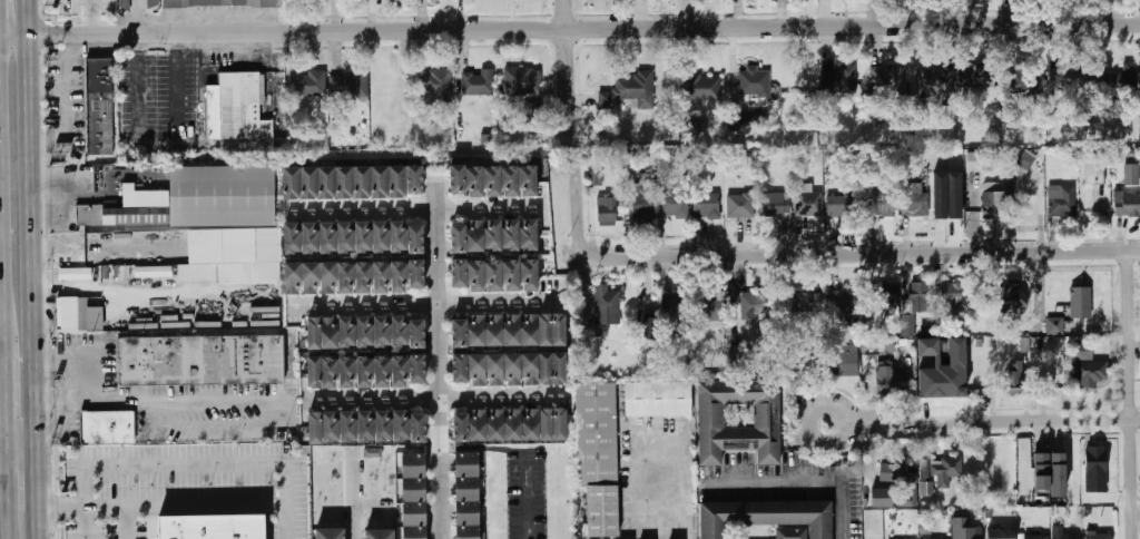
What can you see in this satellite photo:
building: (155, 3)
building: (223, 3)
building: (124, 4)
road: (28, 19)
road: (583, 30)
road: (14, 39)
building: (972, 78)
building: (1069, 78)
building: (838, 80)
building: (1119, 80)
building: (522, 81)
building: (756, 81)
building: (936, 81)
building: (479, 82)
building: (892, 82)
building: (307, 84)
building: (434, 84)
building: (348, 85)
building: (1024, 86)
building: (702, 88)
building: (628, 89)
building: (99, 106)
building: (236, 107)
building: (532, 111)
building: (741, 121)
road: (570, 129)
building: (1095, 168)
building: (1132, 175)
building: (456, 178)
building: (397, 180)
building: (414, 180)
building: (509, 180)
building: (528, 180)
building: (380, 182)
building: (474, 182)
building: (492, 182)
building: (326, 183)
building: (344, 183)
building: (362, 183)
building: (291, 184)
building: (309, 184)
road: (55, 193)
building: (947, 195)
building: (1062, 200)
building: (879, 203)
building: (775, 204)
building: (808, 204)
building: (915, 204)
building: (707, 205)
building: (842, 205)
building: (993, 205)
building: (1127, 205)
building: (676, 206)
building: (740, 206)
building: (643, 207)
building: (607, 209)
road: (413, 210)
building: (208, 222)
building: (492, 235)
building: (510, 235)
building: (529, 235)
building: (397, 236)
building: (475, 236)
building: (362, 237)
building: (381, 237)
building: (292, 238)
building: (309, 238)
building: (326, 238)
building: (345, 238)
building: (415, 238)
building: (458, 238)
road: (32, 242)
road: (852, 255)
building: (153, 271)
building: (459, 273)
building: (75, 274)
building: (415, 274)
building: (529, 274)
building: (475, 275)
building: (493, 275)
building: (511, 275)
building: (381, 276)
building: (399, 276)
building: (345, 277)
building: (363, 277)
building: (293, 278)
building: (311, 278)
building: (327, 278)
building: (952, 294)
building: (1012, 296)
building: (887, 297)
building: (921, 297)
road: (1, 301)
building: (842, 301)
building: (807, 302)
building: (1081, 302)
building: (756, 303)
road: (422, 305)
building: (608, 305)
building: (708, 306)
building: (671, 307)
building: (79, 315)
building: (907, 325)
building: (1057, 326)
building: (511, 330)
building: (529, 330)
building: (544, 330)
building: (558, 330)
building: (475, 331)
building: (493, 331)
building: (381, 332)
building: (399, 332)
building: (327, 333)
building: (345, 333)
building: (363, 333)
building: (416, 333)
building: (459, 333)
building: (312, 334)
road: (87, 353)
road: (439, 356)
building: (740, 357)
building: (200, 360)
building: (843, 360)
building: (1089, 364)
building: (558, 367)
building: (415, 369)
building: (458, 369)
building: (476, 369)
building: (494, 369)
building: (512, 369)
building: (530, 369)
building: (544, 369)
building: (942, 370)
building: (382, 371)
building: (399, 371)
building: (312, 372)
building: (328, 372)
building: (345, 372)
building: (364, 372)
building: (891, 381)
building: (1013, 382)
road: (1131, 395)
building: (658, 399)
road: (3, 400)
road: (161, 400)
road: (436, 400)
road: (844, 410)
building: (765, 416)
road: (994, 421)
building: (513, 424)
building: (531, 424)
building: (546, 424)
building: (559, 424)
building: (402, 425)
building: (417, 425)
building: (460, 425)
building: (478, 425)
building: (495, 425)
building: (348, 427)
building: (365, 427)
building: (384, 427)
building: (107, 428)
building: (314, 428)
building: (331, 428)
road: (21, 444)
road: (2, 445)
building: (372, 452)
building: (598, 455)
road: (177, 462)
building: (465, 464)
building: (1043, 464)
building: (412, 465)
building: (925, 468)
building: (946, 472)
building: (1057, 474)
road: (38, 478)
building: (903, 483)
road: (779, 484)
building: (412, 489)
building: (465, 489)
building: (926, 489)
road: (682, 490)
road: (355, 491)
road: (4, 492)
building: (881, 498)
road: (170, 504)
road: (375, 504)
building: (413, 513)
building: (465, 513)
building: (765, 517)
road: (844, 520)
road: (128, 522)
road: (39, 526)
building: (214, 526)
building: (966, 529)
building: (413, 532)
building: (465, 532)
building: (328, 533)
building: (790, 533)
building: (1001, 533)
building: (1063, 533)
building: (377, 535)
building: (1097, 535)
building: (1036, 537)

